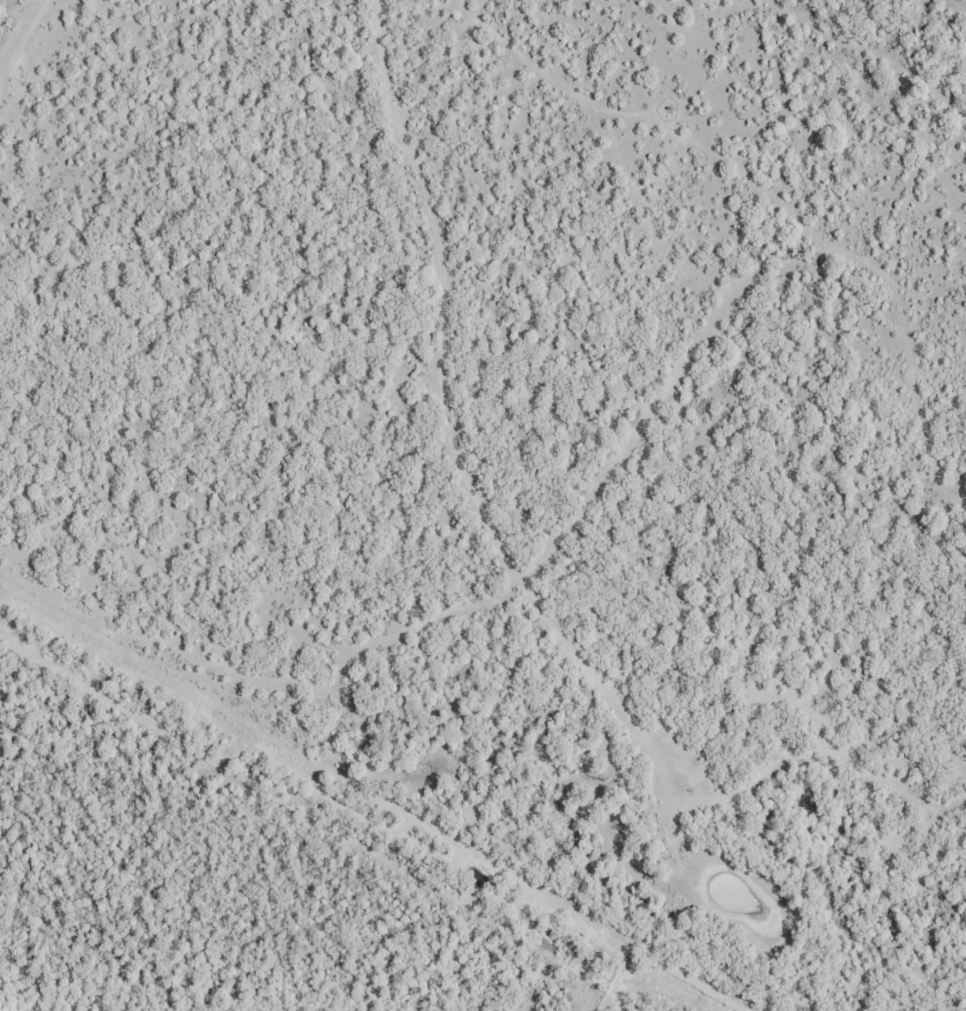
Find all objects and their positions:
road: (421, 408)

